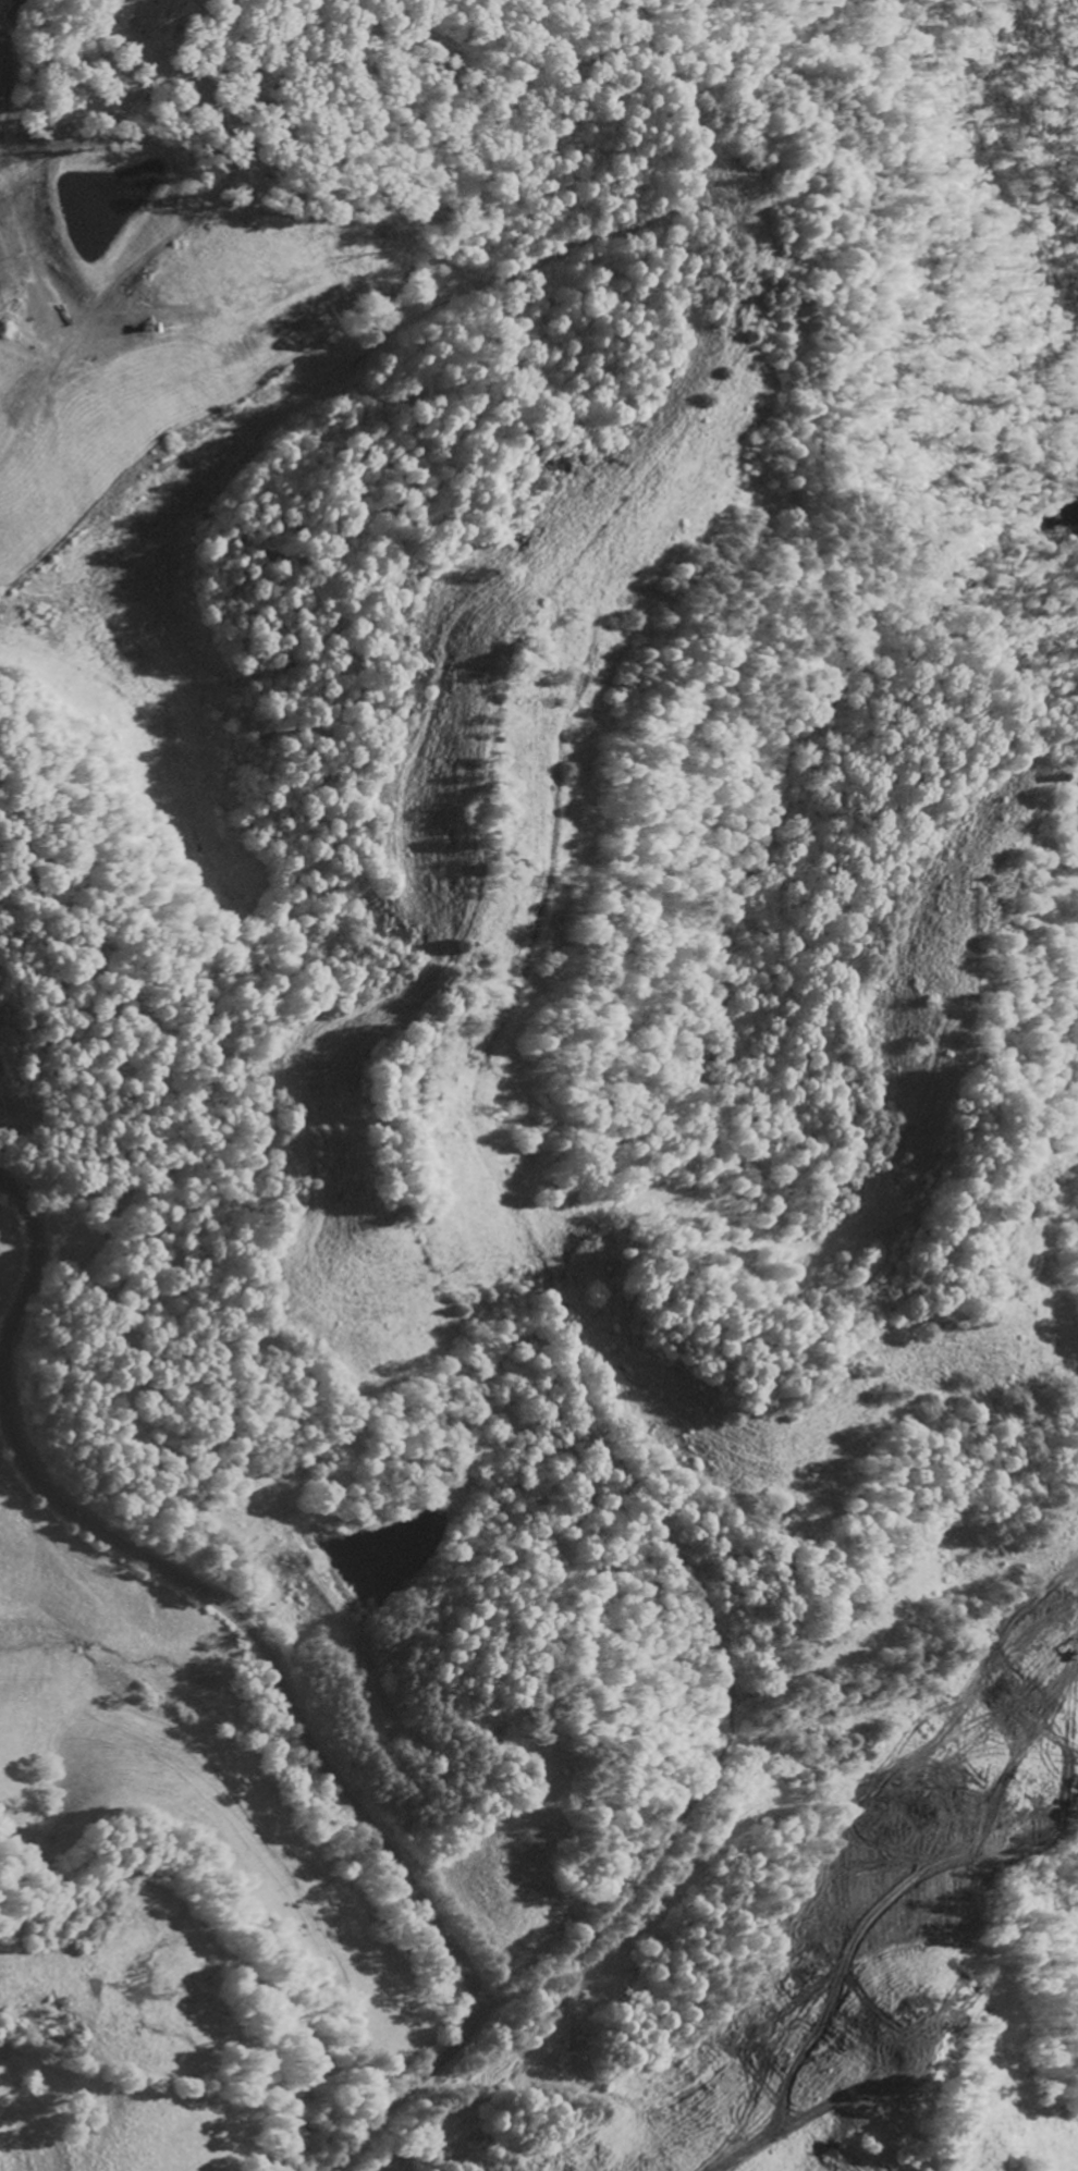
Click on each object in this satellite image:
road: (146, 1556)
road: (737, 1677)
road: (894, 1913)
road: (446, 2055)

